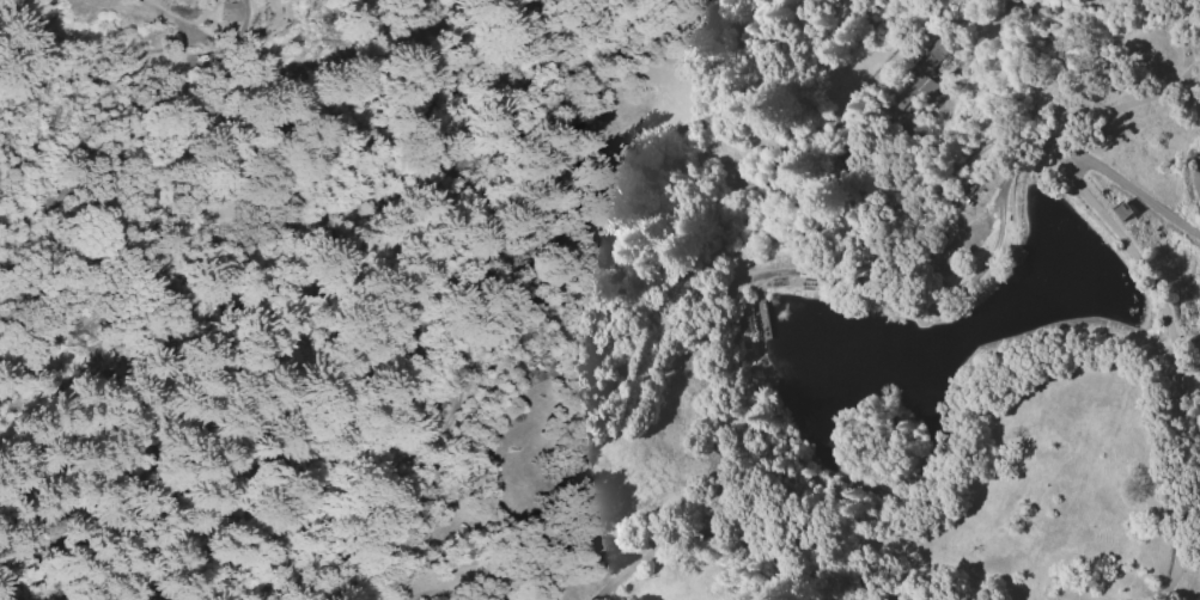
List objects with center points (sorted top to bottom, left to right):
building: (930, 69)
road: (1193, 169)
road: (1135, 189)
road: (41, 238)
road: (1153, 283)
road: (712, 563)

